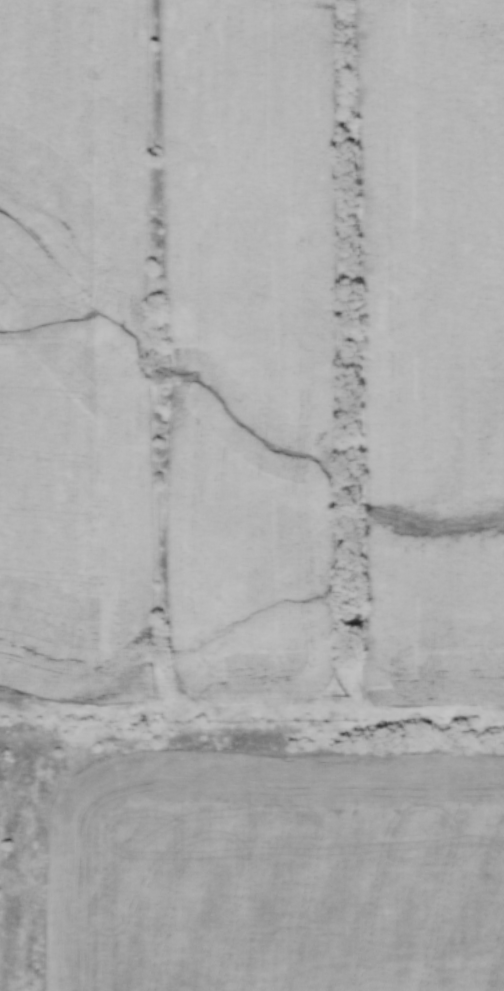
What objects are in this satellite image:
crop: (252, 346)
crop: (432, 347)
crop: (75, 353)
power tower: (345, 694)

